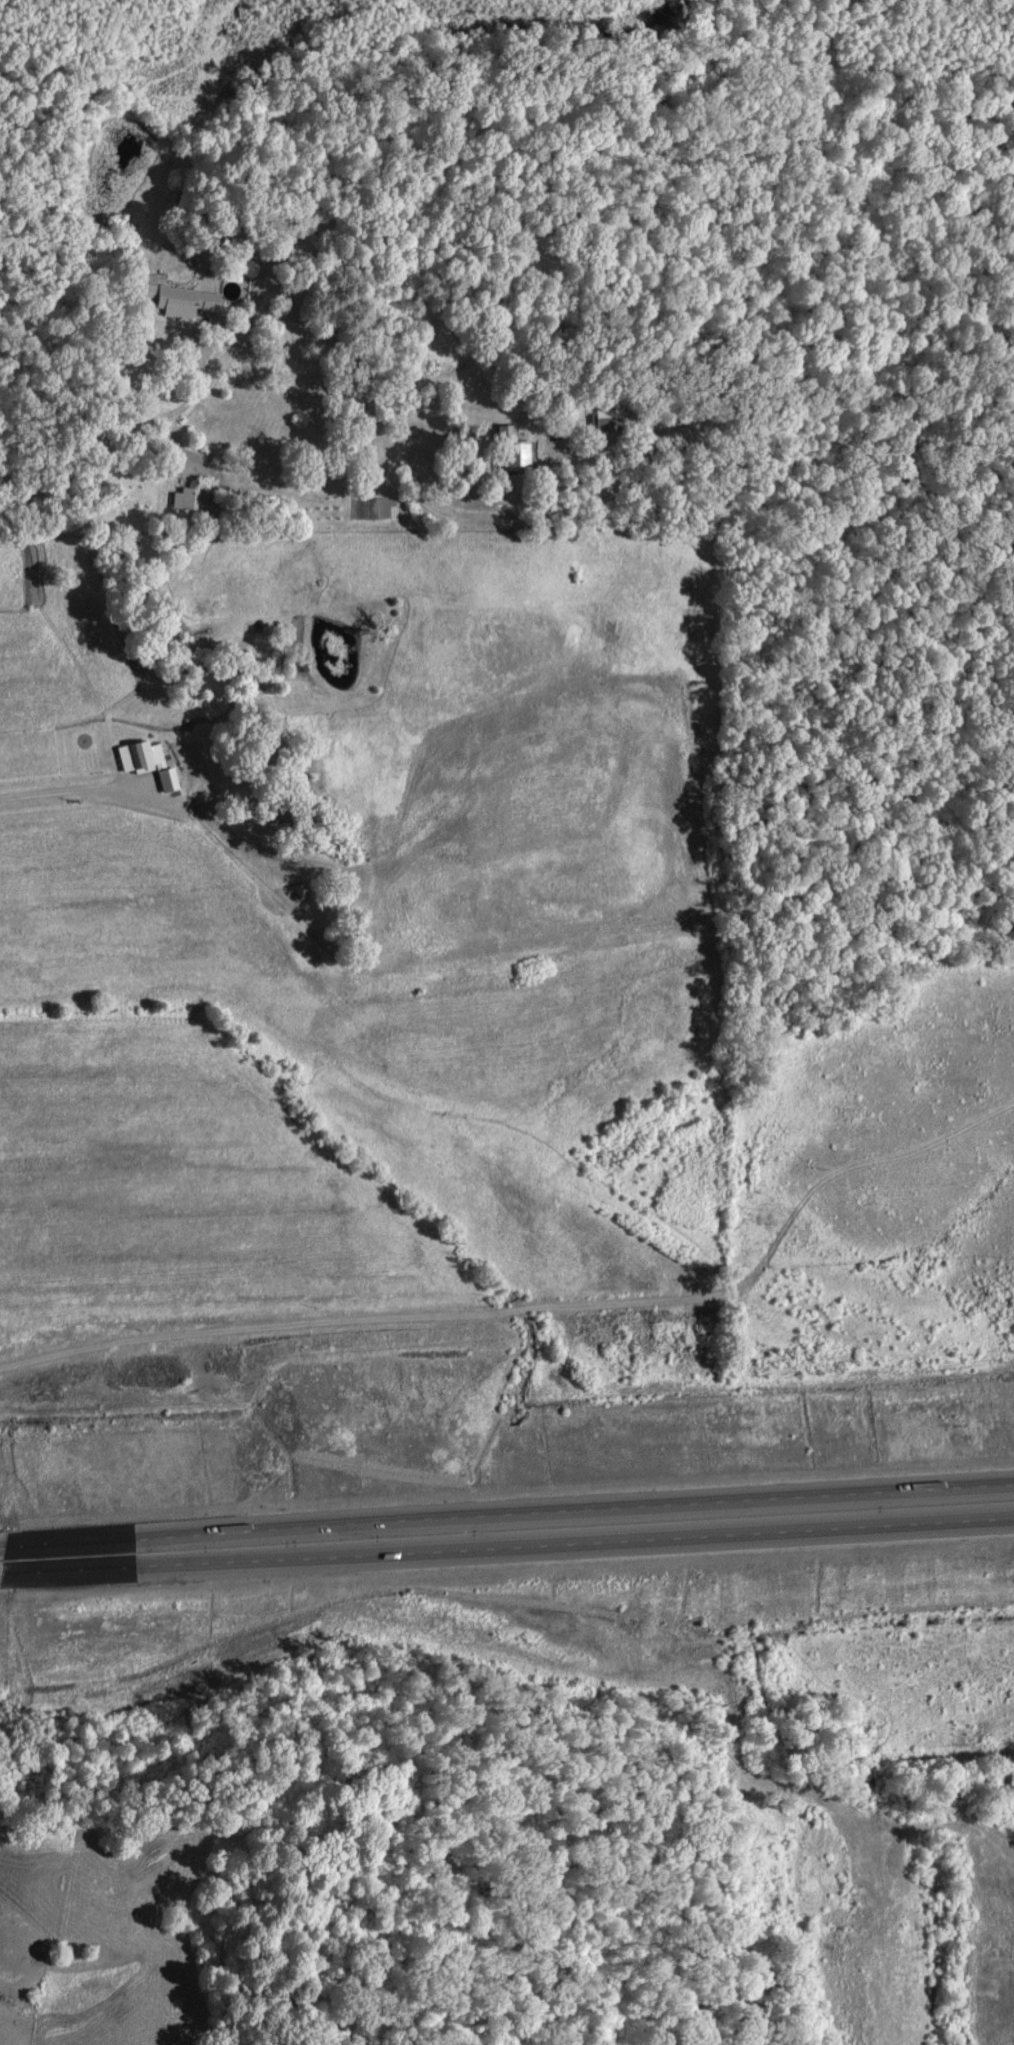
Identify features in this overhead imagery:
road: (343, 349)
building: (511, 447)
building: (241, 658)
building: (143, 761)
road: (356, 1325)
road: (513, 1514)
road: (513, 1543)
road: (6, 1546)
road: (6, 1571)

